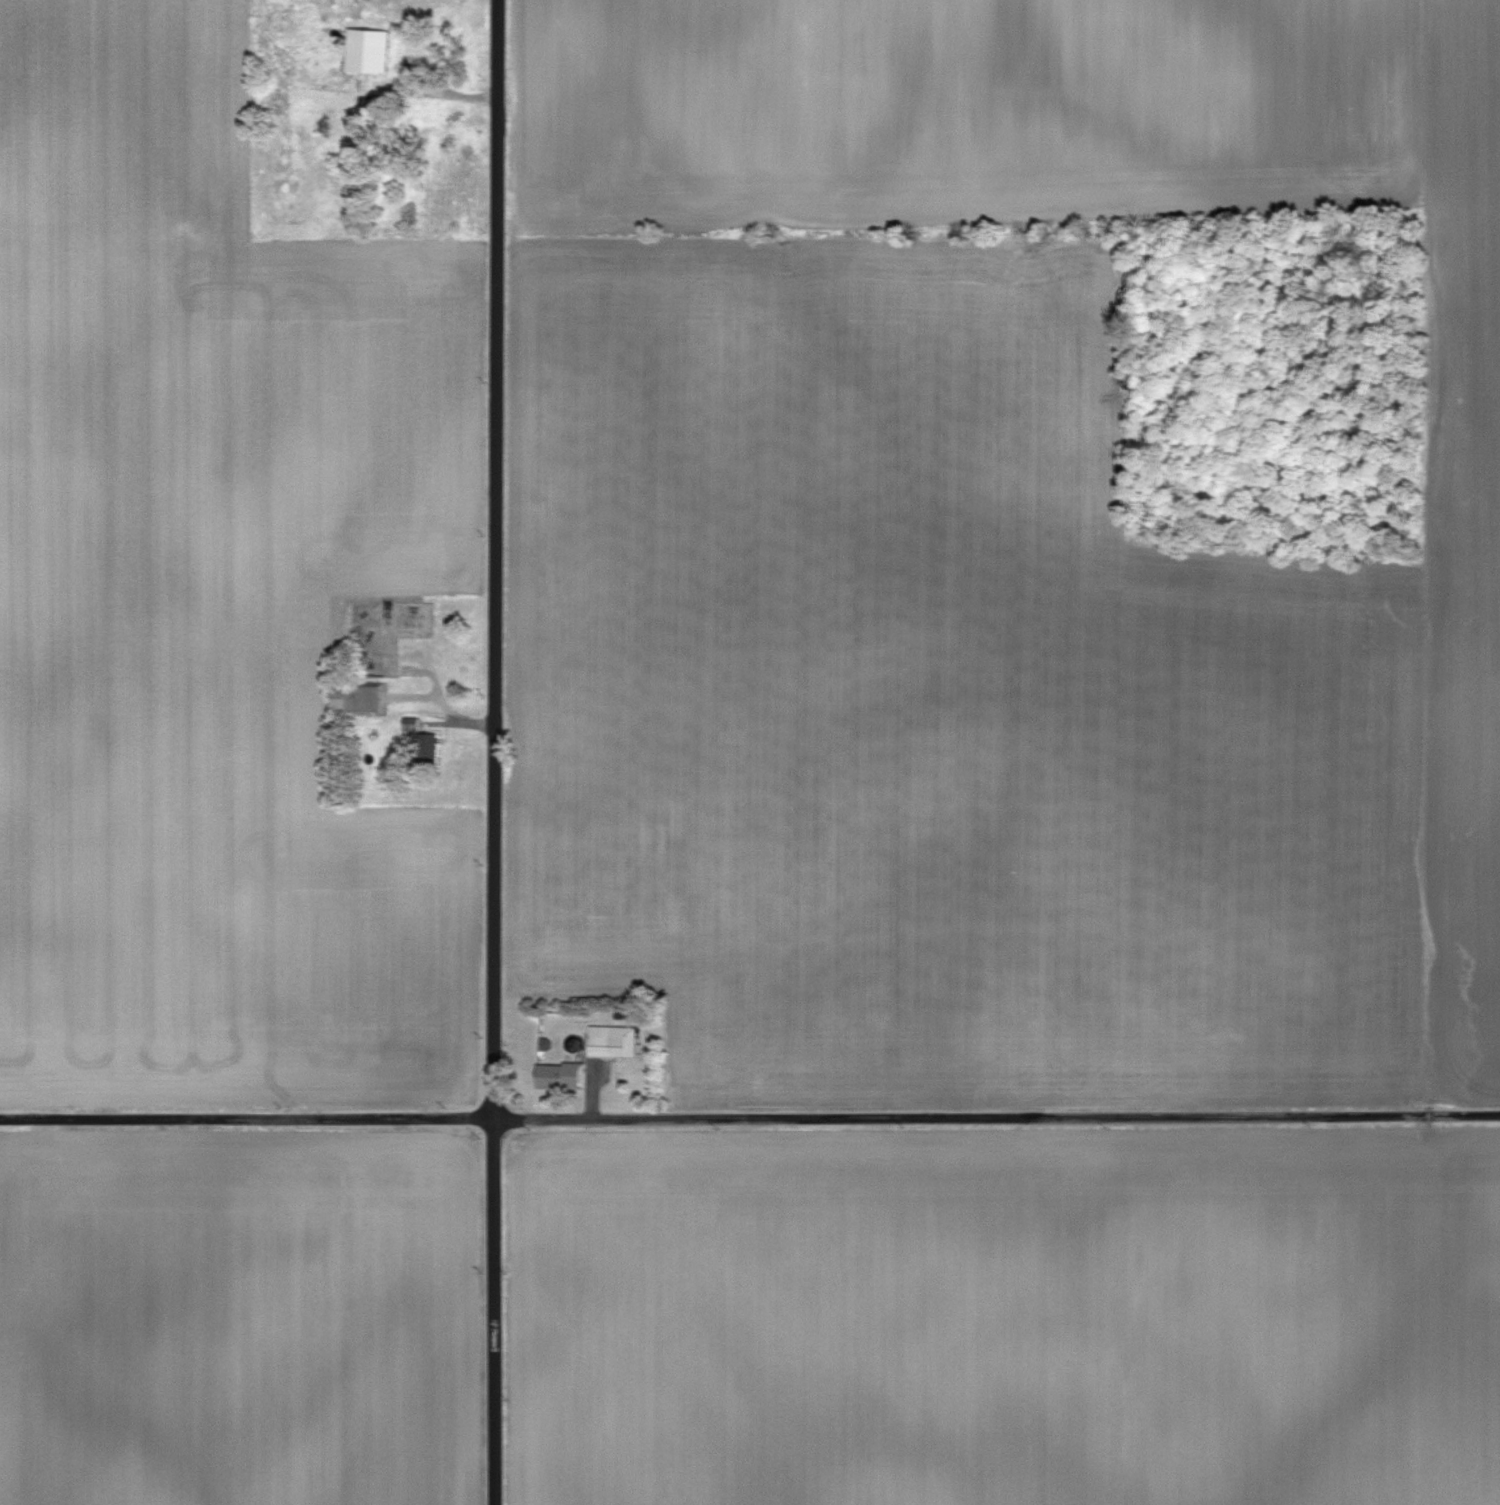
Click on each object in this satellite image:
building: (366, 51)
road: (403, 88)
building: (421, 120)
building: (405, 619)
building: (354, 698)
road: (494, 752)
building: (612, 1044)
building: (558, 1076)
road: (750, 1118)

